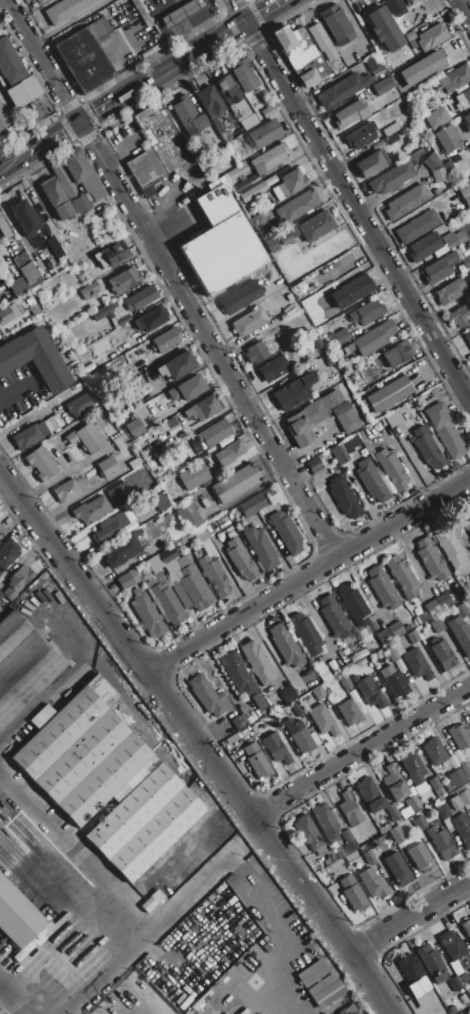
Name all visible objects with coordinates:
park: (246, 0)
building: (403, 0)
building: (41, 2)
road: (162, 7)
building: (394, 8)
building: (65, 10)
road: (463, 10)
building: (183, 13)
building: (337, 24)
building: (384, 30)
building: (432, 38)
building: (321, 42)
building: (86, 55)
building: (302, 55)
building: (10, 62)
building: (373, 63)
building: (421, 68)
building: (244, 77)
building: (456, 79)
road: (144, 85)
building: (383, 86)
building: (1, 87)
building: (340, 89)
building: (23, 92)
building: (230, 94)
building: (463, 100)
building: (212, 110)
building: (269, 111)
building: (350, 114)
building: (188, 118)
building: (467, 121)
building: (3, 122)
traffic signals: (82, 124)
building: (390, 130)
building: (265, 134)
building: (360, 135)
road: (123, 136)
building: (447, 138)
building: (390, 139)
building: (159, 149)
building: (270, 161)
building: (431, 162)
building: (371, 164)
building: (448, 165)
building: (236, 172)
building: (81, 173)
building: (439, 175)
building: (392, 178)
building: (271, 179)
building: (293, 181)
building: (247, 184)
building: (463, 187)
building: (68, 189)
building: (253, 192)
building: (279, 192)
building: (56, 198)
road: (350, 199)
building: (466, 200)
building: (406, 202)
building: (296, 204)
building: (24, 218)
road: (175, 219)
building: (258, 221)
building: (316, 225)
building: (416, 226)
building: (4, 229)
building: (284, 237)
building: (454, 239)
building: (220, 242)
building: (424, 247)
building: (117, 254)
building: (465, 259)
building: (101, 261)
building: (352, 266)
building: (439, 268)
road: (173, 278)
building: (25, 280)
building: (125, 280)
building: (89, 291)
building: (350, 292)
building: (449, 292)
building: (240, 298)
building: (139, 299)
building: (32, 307)
building: (367, 312)
building: (101, 313)
building: (8, 314)
building: (460, 315)
building: (150, 320)
building: (249, 322)
building: (339, 336)
building: (374, 338)
building: (468, 338)
building: (165, 340)
building: (256, 353)
building: (397, 353)
building: (35, 358)
building: (176, 366)
building: (274, 368)
building: (186, 388)
road: (13, 392)
building: (293, 392)
building: (389, 394)
building: (78, 406)
building: (203, 408)
building: (325, 415)
building: (391, 420)
building: (55, 422)
building: (169, 424)
building: (197, 426)
building: (134, 428)
building: (443, 428)
building: (214, 434)
building: (29, 435)
building: (86, 438)
building: (121, 442)
building: (427, 448)
building: (232, 451)
building: (339, 455)
building: (135, 463)
building: (40, 464)
building: (314, 466)
building: (108, 468)
building: (391, 469)
building: (194, 477)
building: (147, 481)
building: (373, 481)
building: (236, 483)
building: (65, 491)
building: (345, 498)
building: (160, 501)
building: (253, 506)
building: (274, 508)
building: (90, 509)
building: (191, 517)
building: (466, 521)
building: (109, 527)
building: (1, 529)
building: (287, 532)
building: (449, 545)
building: (261, 548)
building: (121, 553)
building: (7, 555)
building: (166, 555)
building: (430, 558)
building: (241, 560)
building: (153, 563)
building: (171, 568)
road: (309, 574)
building: (213, 576)
building: (402, 577)
building: (17, 582)
building: (125, 582)
building: (190, 588)
building: (382, 588)
building: (1, 595)
building: (444, 601)
building: (167, 604)
building: (354, 605)
building: (431, 607)
building: (460, 611)
building: (147, 614)
building: (335, 616)
building: (421, 617)
building: (437, 625)
building: (396, 629)
building: (305, 634)
building: (460, 635)
building: (385, 636)
building: (414, 637)
building: (285, 645)
building: (390, 652)
building: (443, 656)
building: (257, 662)
building: (417, 664)
building: (22, 666)
building: (237, 673)
building: (394, 681)
building: (346, 683)
building: (367, 690)
building: (318, 692)
building: (287, 693)
building: (207, 696)
building: (259, 701)
building: (297, 709)
building: (350, 713)
building: (469, 715)
building: (324, 721)
building: (239, 722)
building: (300, 736)
building: (460, 736)
road: (198, 740)
building: (275, 749)
road: (361, 752)
building: (434, 752)
building: (81, 754)
building: (257, 761)
building: (413, 768)
building: (466, 769)
building: (457, 778)
building: (394, 784)
building: (436, 786)
building: (370, 796)
building: (464, 798)
building: (413, 804)
building: (350, 810)
building: (444, 812)
building: (393, 813)
building: (142, 823)
building: (326, 823)
building: (420, 823)
building: (462, 828)
building: (382, 830)
building: (309, 836)
building: (397, 837)
building: (348, 838)
building: (441, 843)
building: (369, 857)
building: (420, 858)
building: (397, 870)
road: (205, 881)
building: (372, 884)
road: (112, 892)
building: (353, 894)
building: (150, 901)
road: (412, 918)
building: (21, 920)
building: (466, 927)
building: (454, 950)
building: (469, 969)
building: (437, 972)
building: (320, 984)
building: (413, 984)
building: (464, 999)
building: (349, 1010)
road: (1, 1012)
building: (421, 1013)

